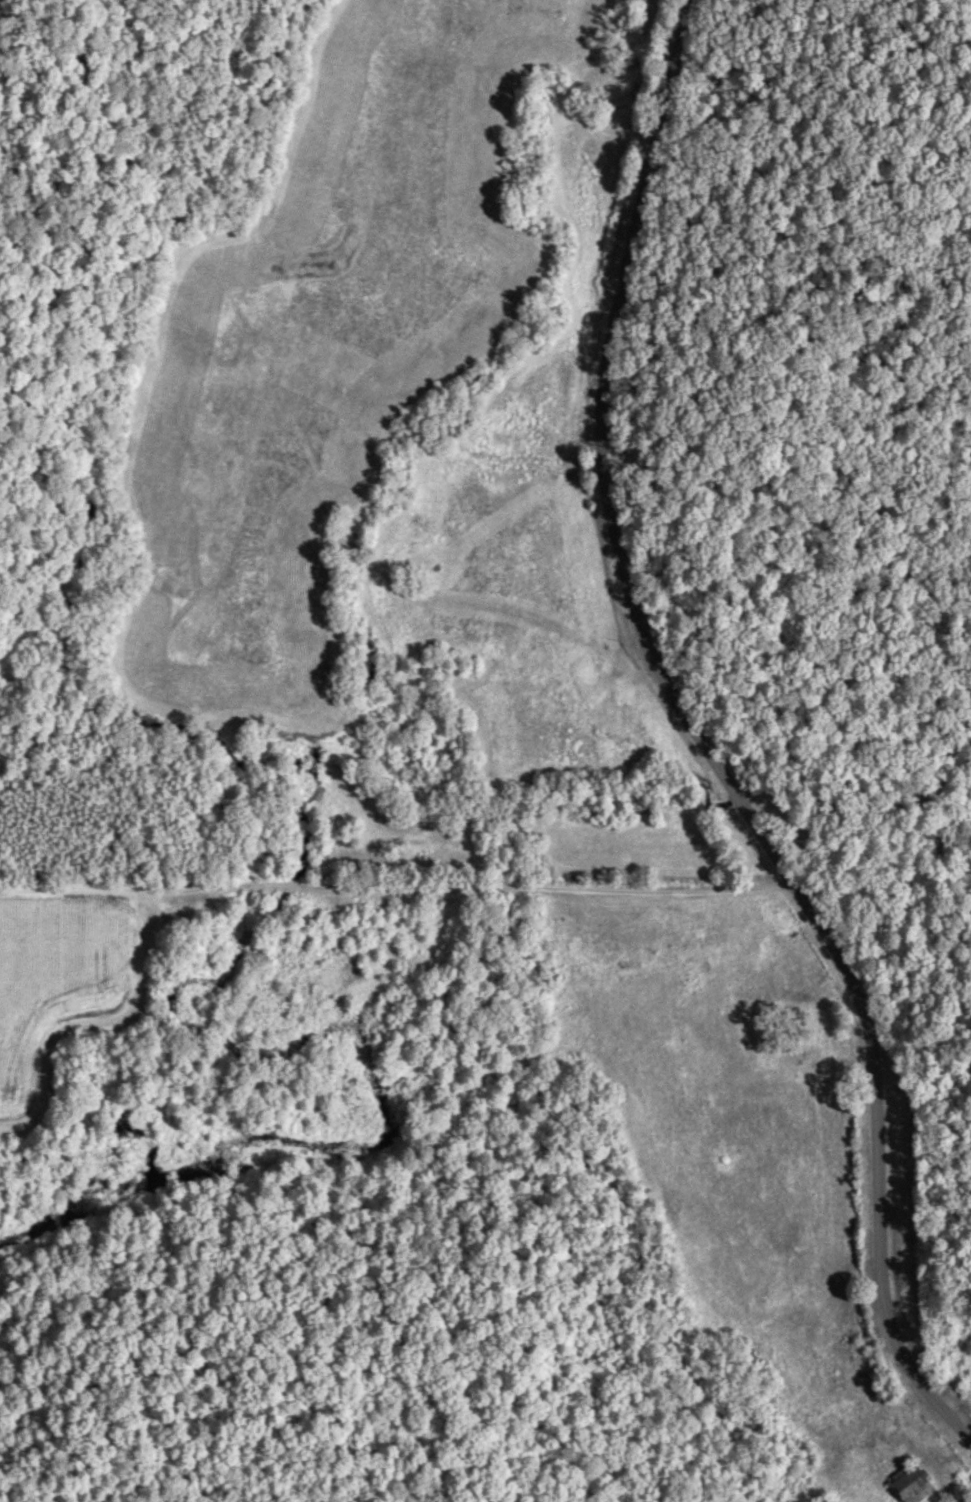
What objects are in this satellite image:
road: (703, 744)
building: (910, 1485)

